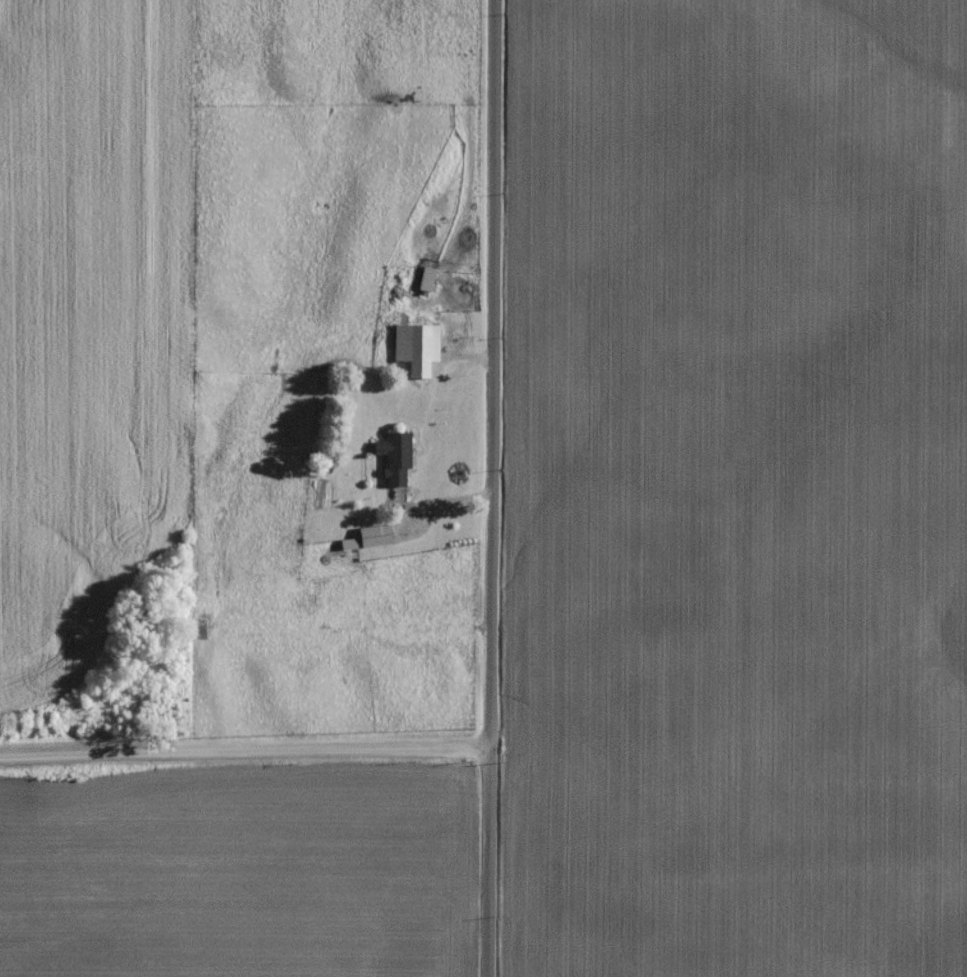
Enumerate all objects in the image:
building: (412, 347)
building: (395, 462)
road: (495, 488)
building: (375, 541)
building: (348, 549)
road: (246, 750)

